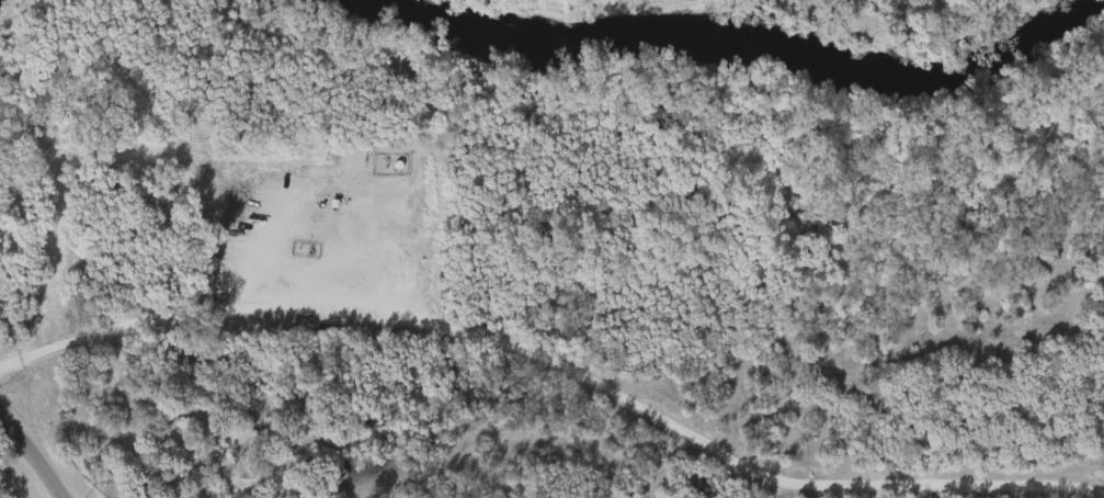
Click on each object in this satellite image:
river: (742, 36)
building: (385, 163)
road: (208, 308)
road: (30, 459)

